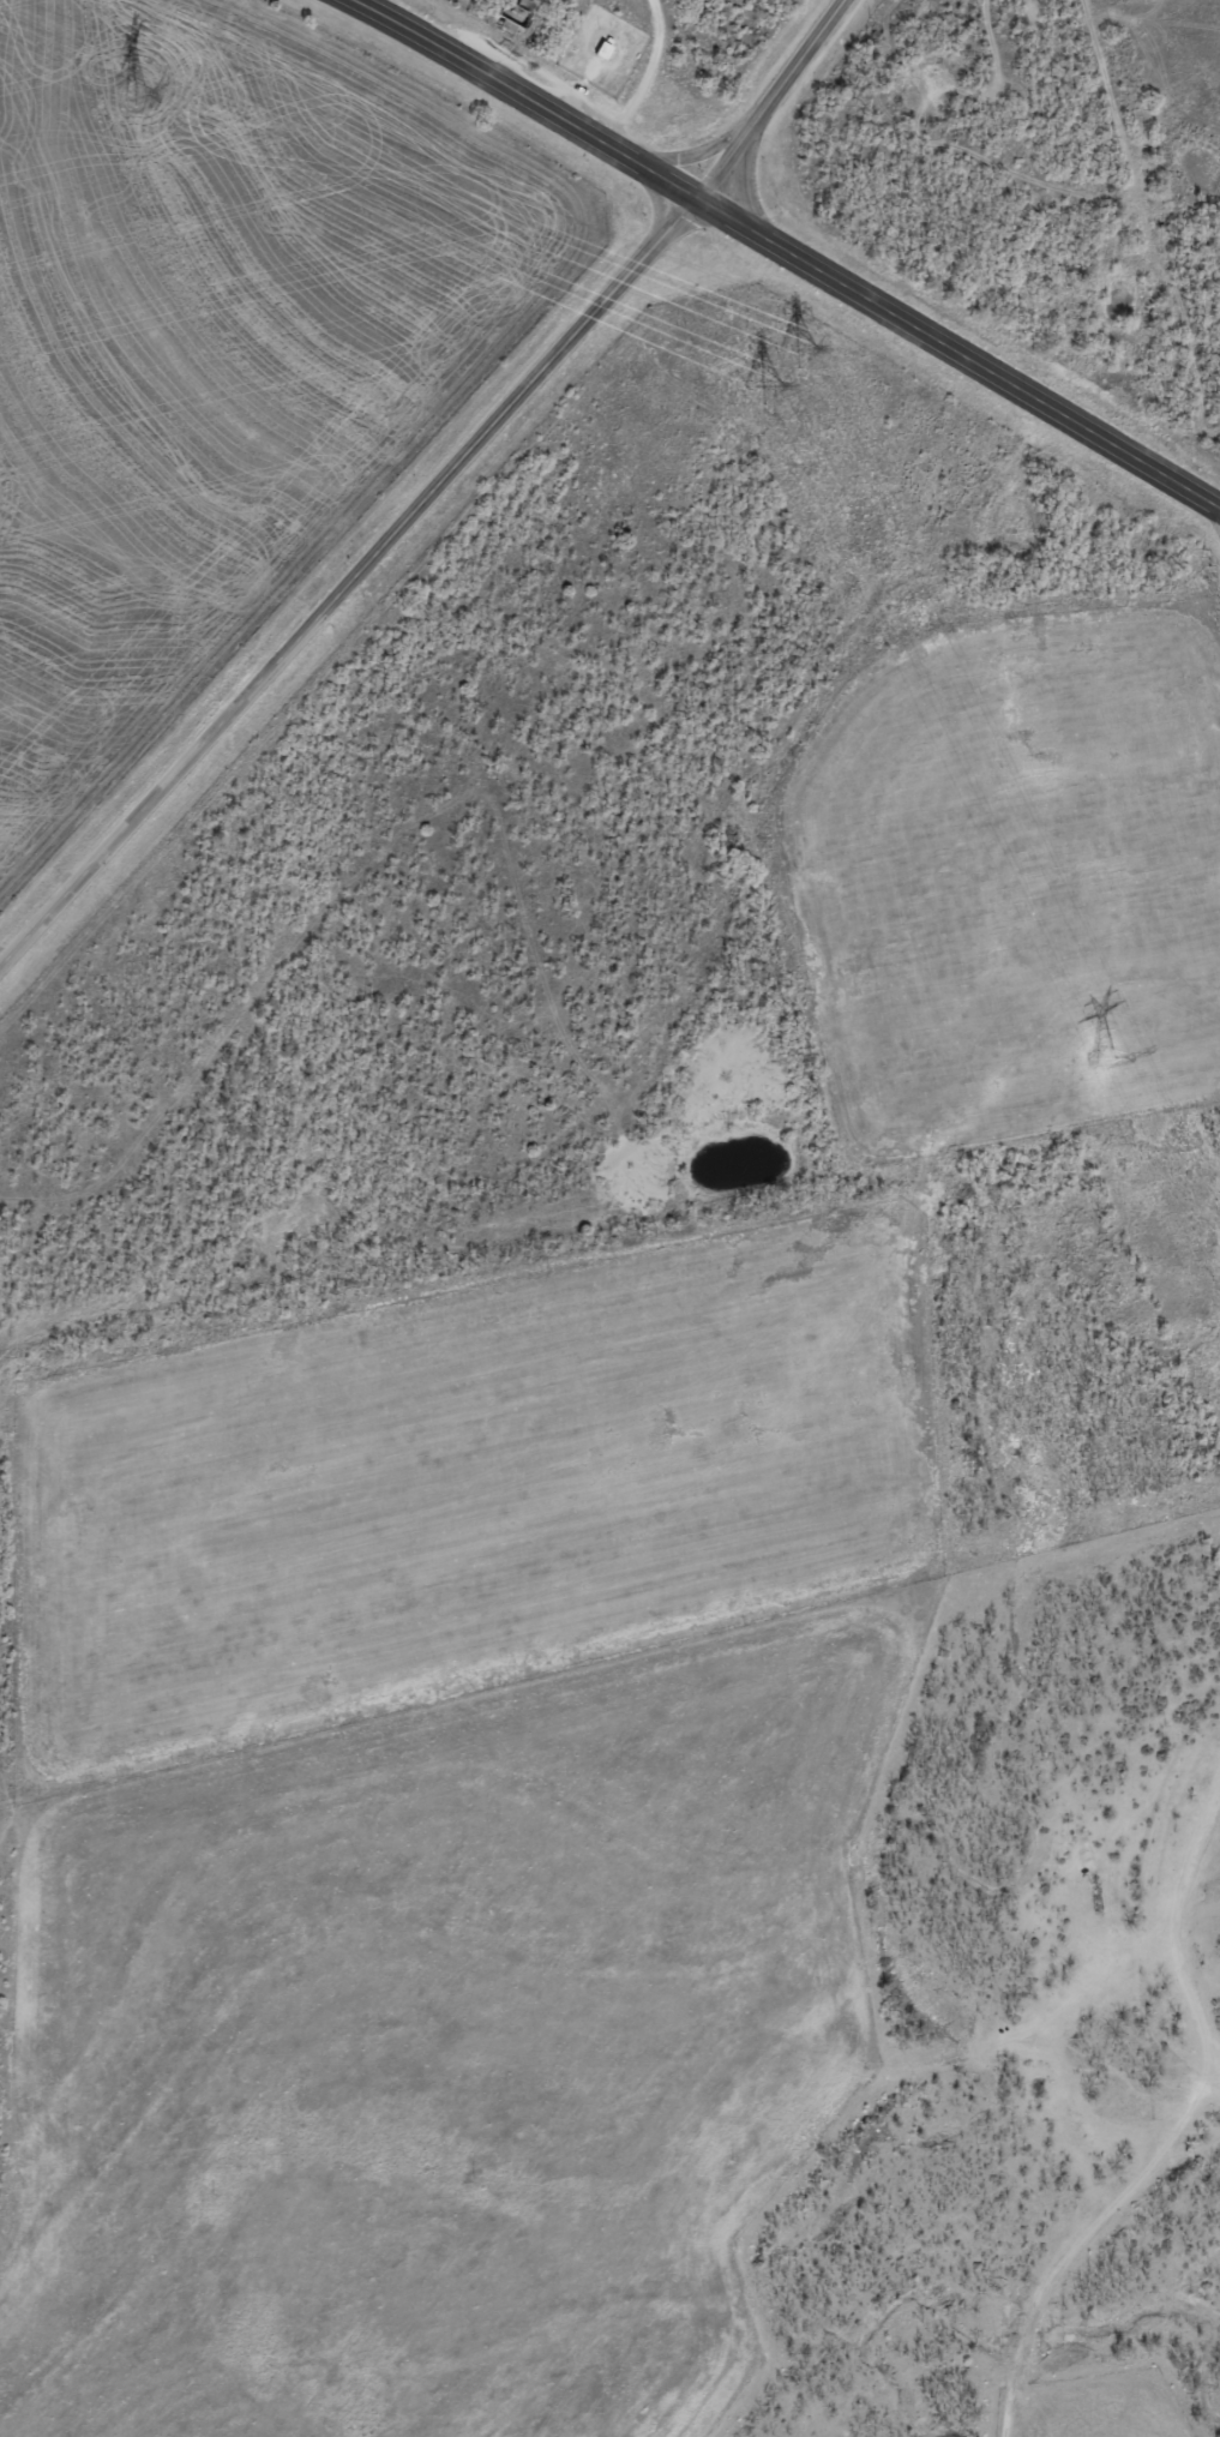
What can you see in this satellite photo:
building: (521, 13)
power tower: (136, 92)
road: (527, 97)
road: (692, 156)
road: (960, 355)
power tower: (783, 367)
road: (433, 492)
power tower: (1106, 1057)

